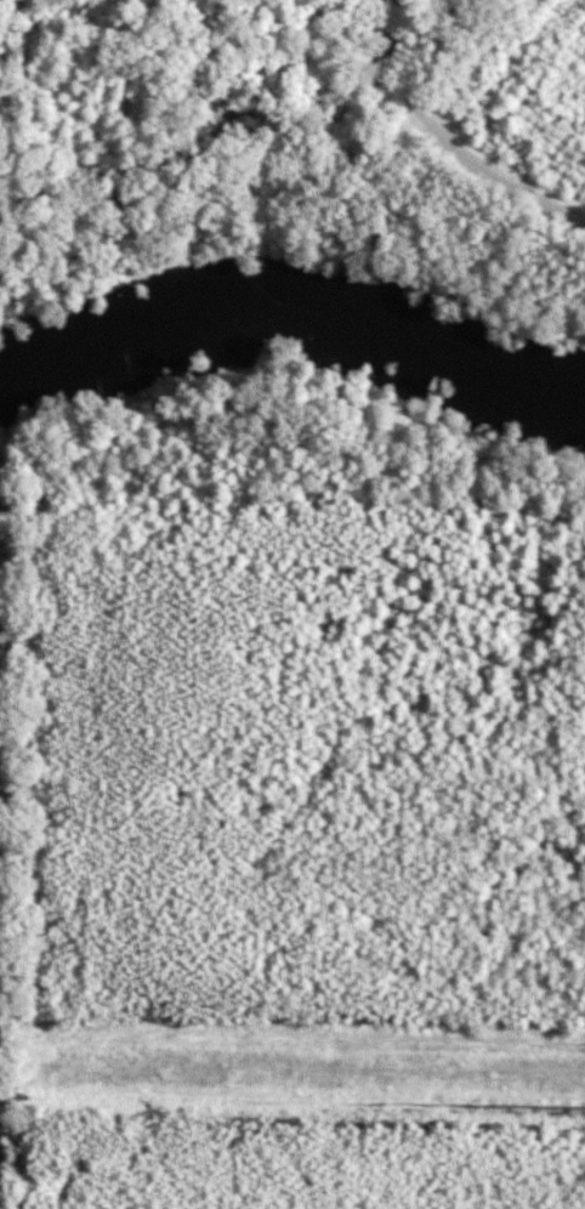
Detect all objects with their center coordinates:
road: (445, 135)
road: (292, 1084)

